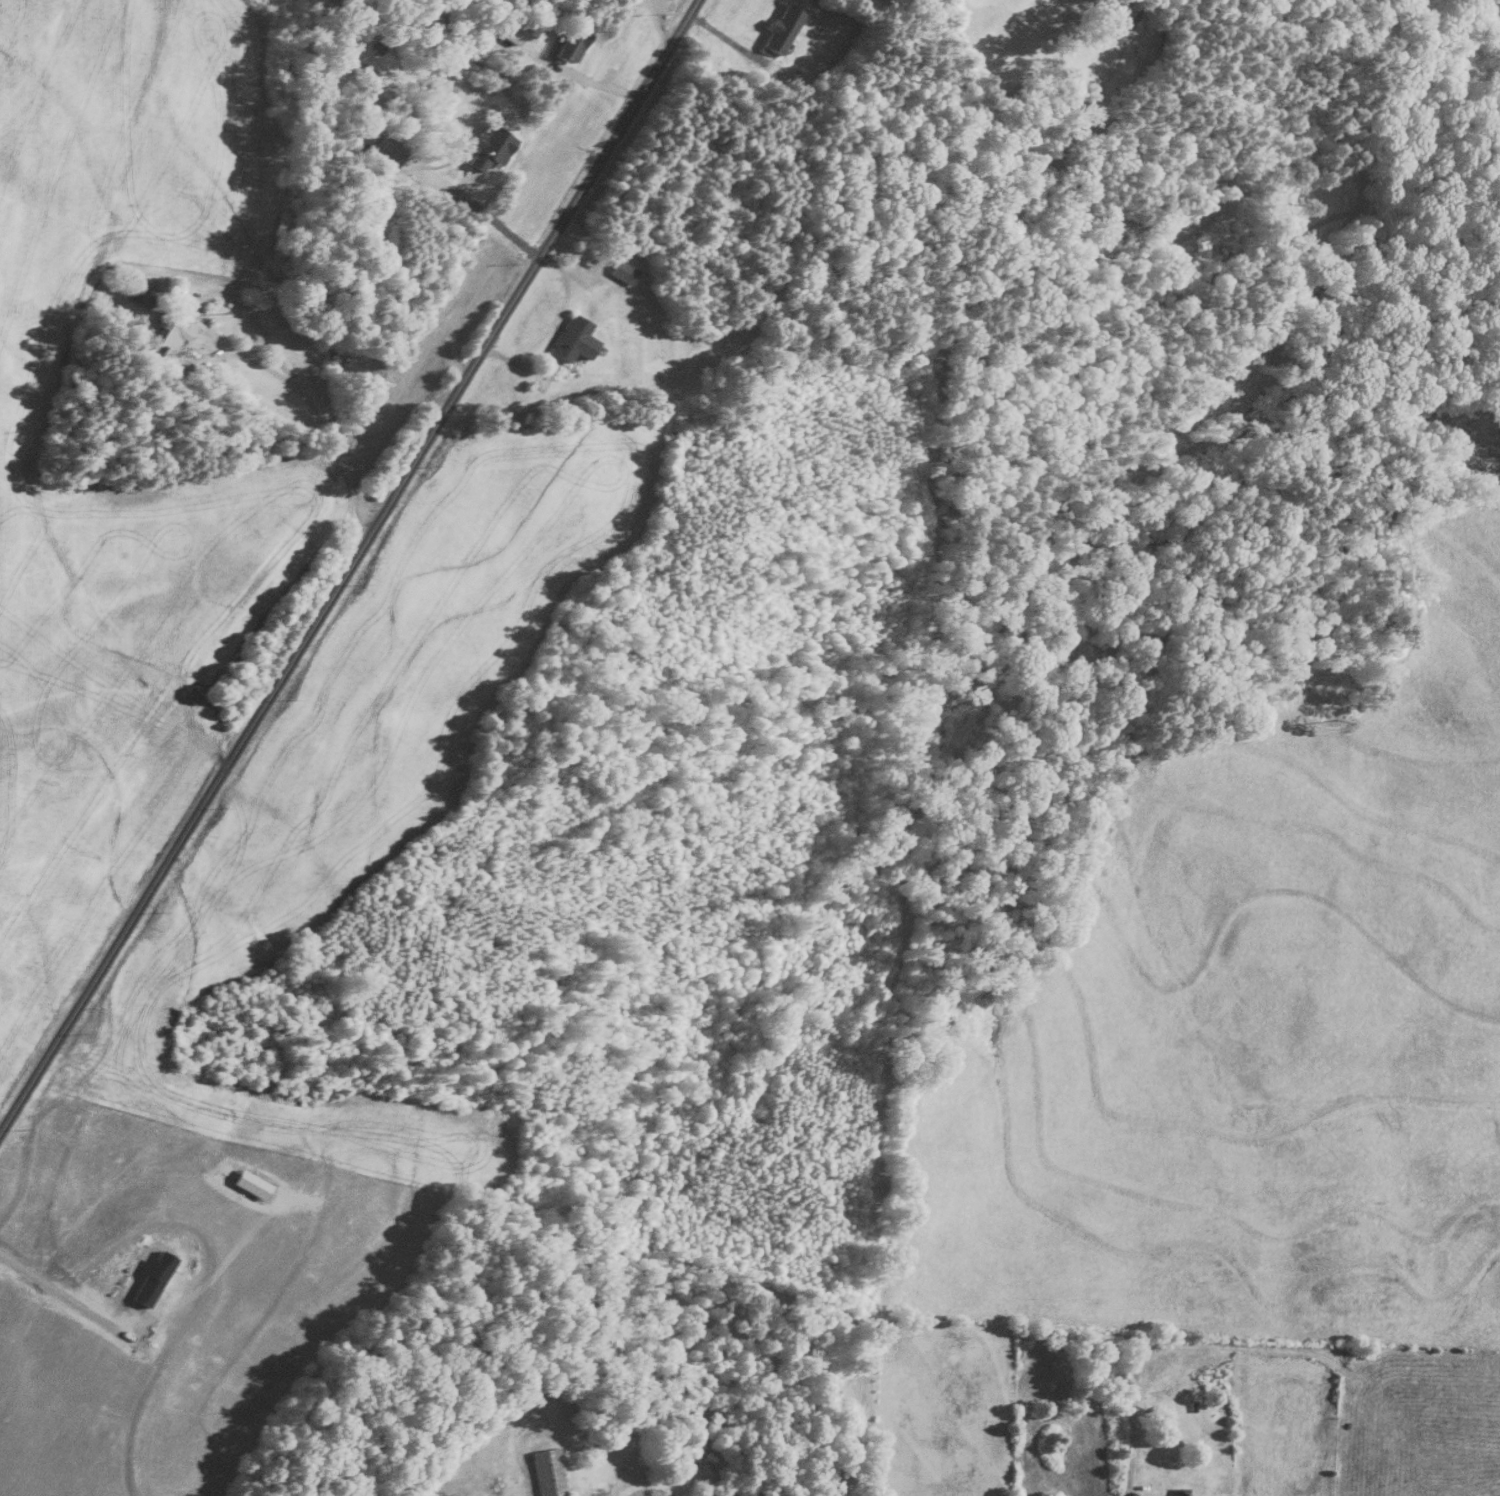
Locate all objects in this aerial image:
building: (780, 27)
building: (509, 29)
building: (570, 42)
building: (487, 146)
road: (489, 217)
building: (620, 270)
building: (147, 297)
building: (175, 332)
building: (571, 338)
road: (266, 339)
road: (350, 561)
road: (62, 1293)
airport runway: (1282, 1435)
road: (1129, 1451)
building: (549, 1471)
building: (1178, 1492)

